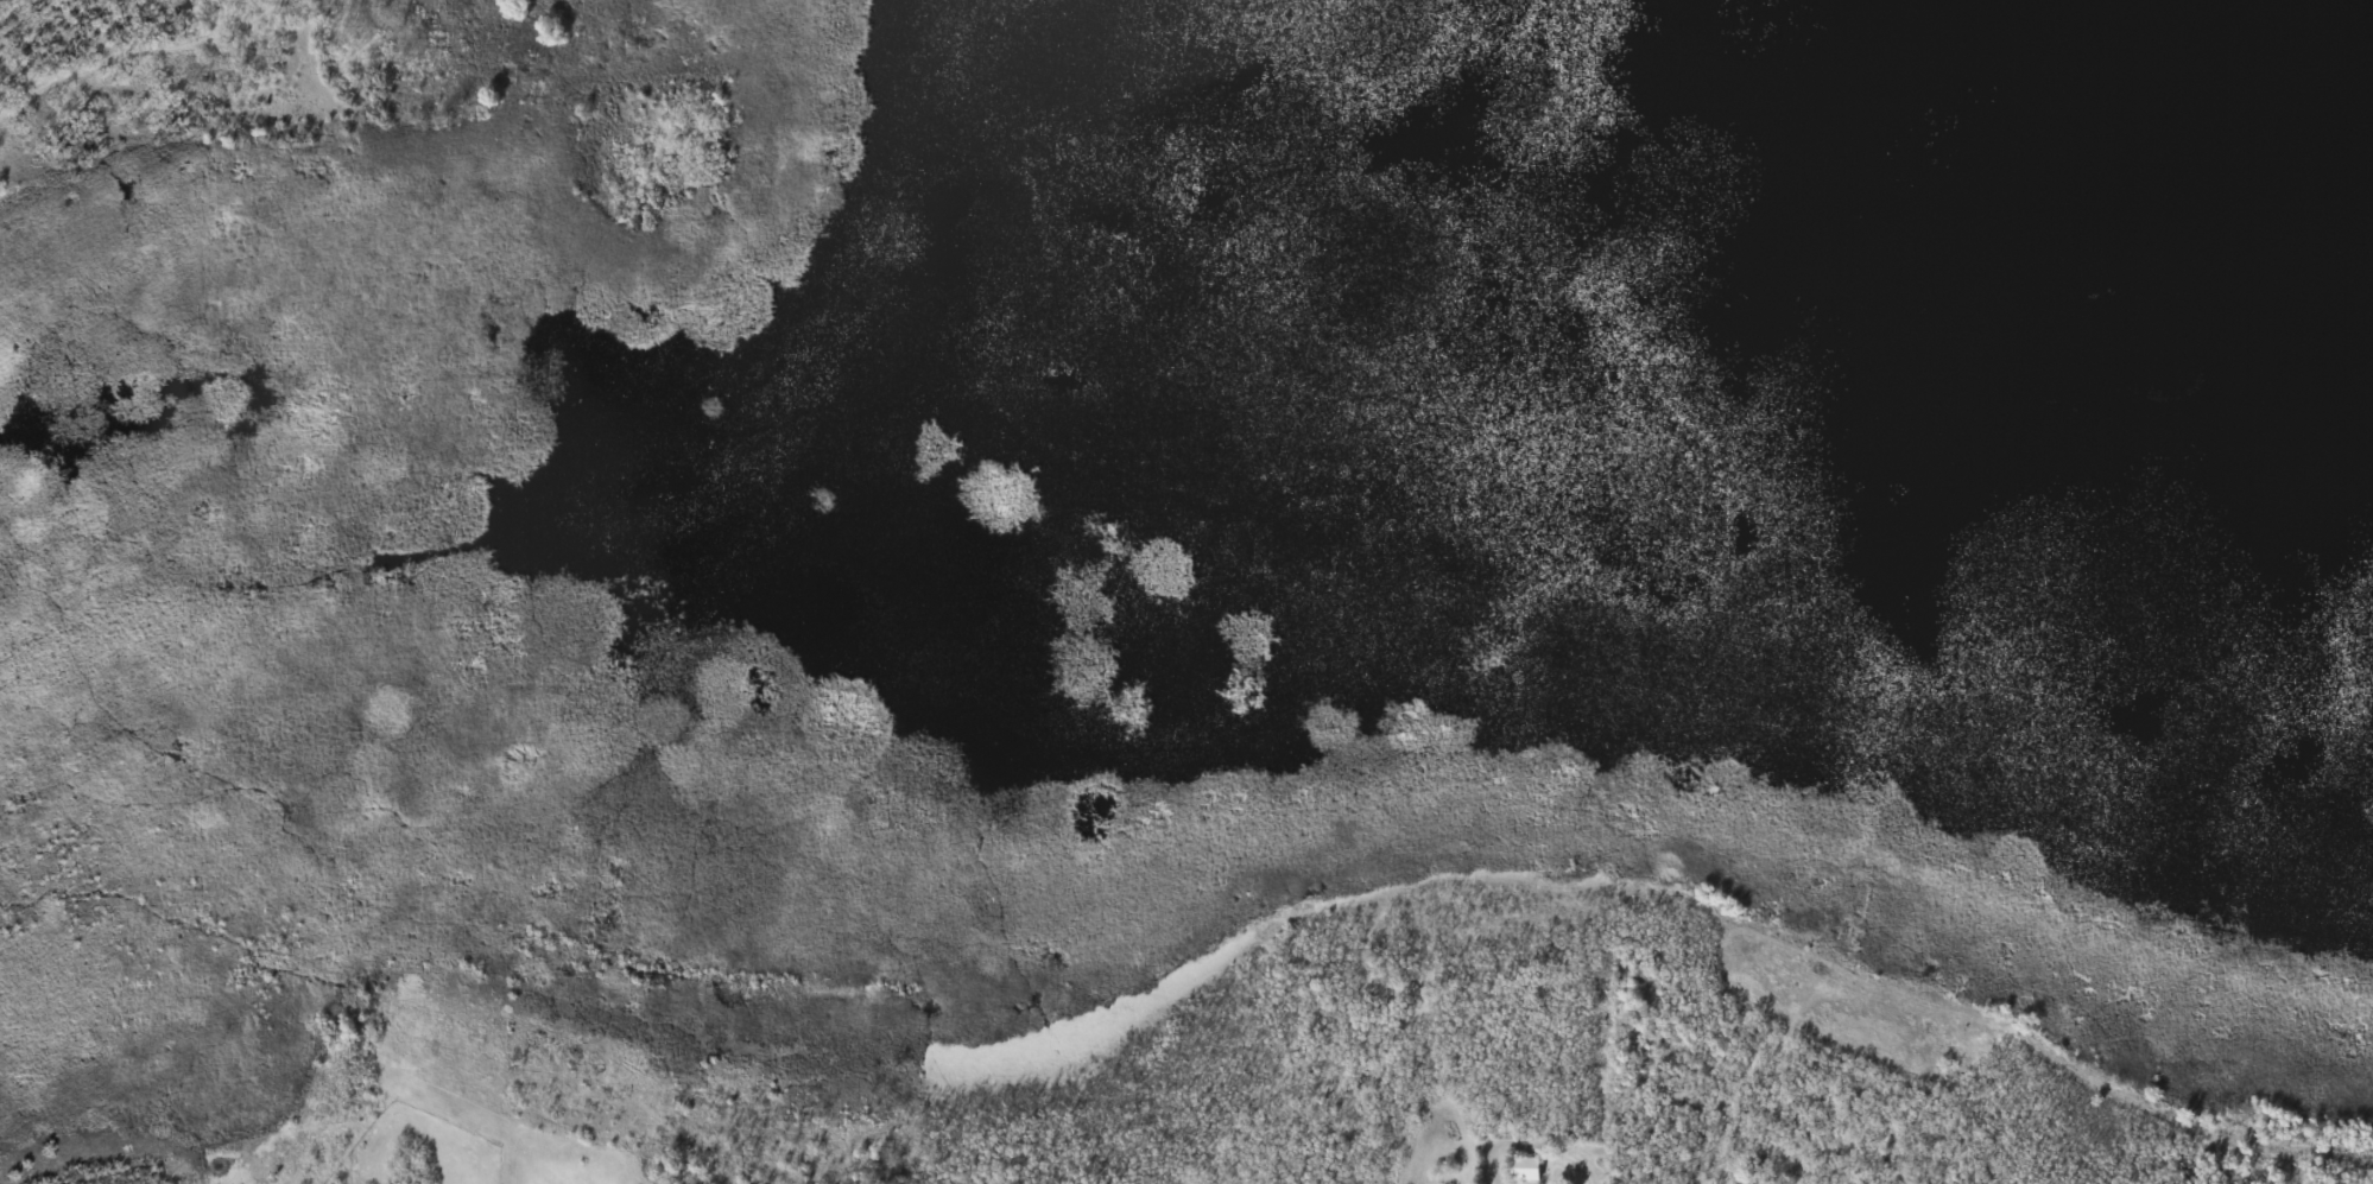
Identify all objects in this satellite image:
building: (1524, 1169)

